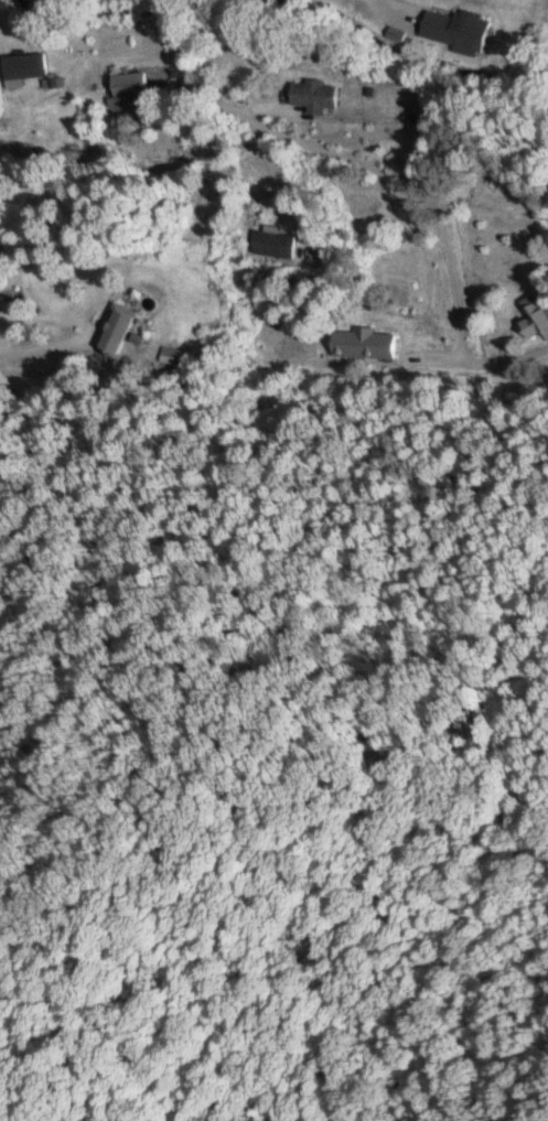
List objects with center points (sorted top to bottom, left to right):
building: (453, 25)
building: (125, 87)
building: (311, 95)
road: (314, 212)
building: (270, 241)
road: (487, 306)
building: (536, 320)
building: (116, 322)
building: (363, 342)
road: (241, 478)

